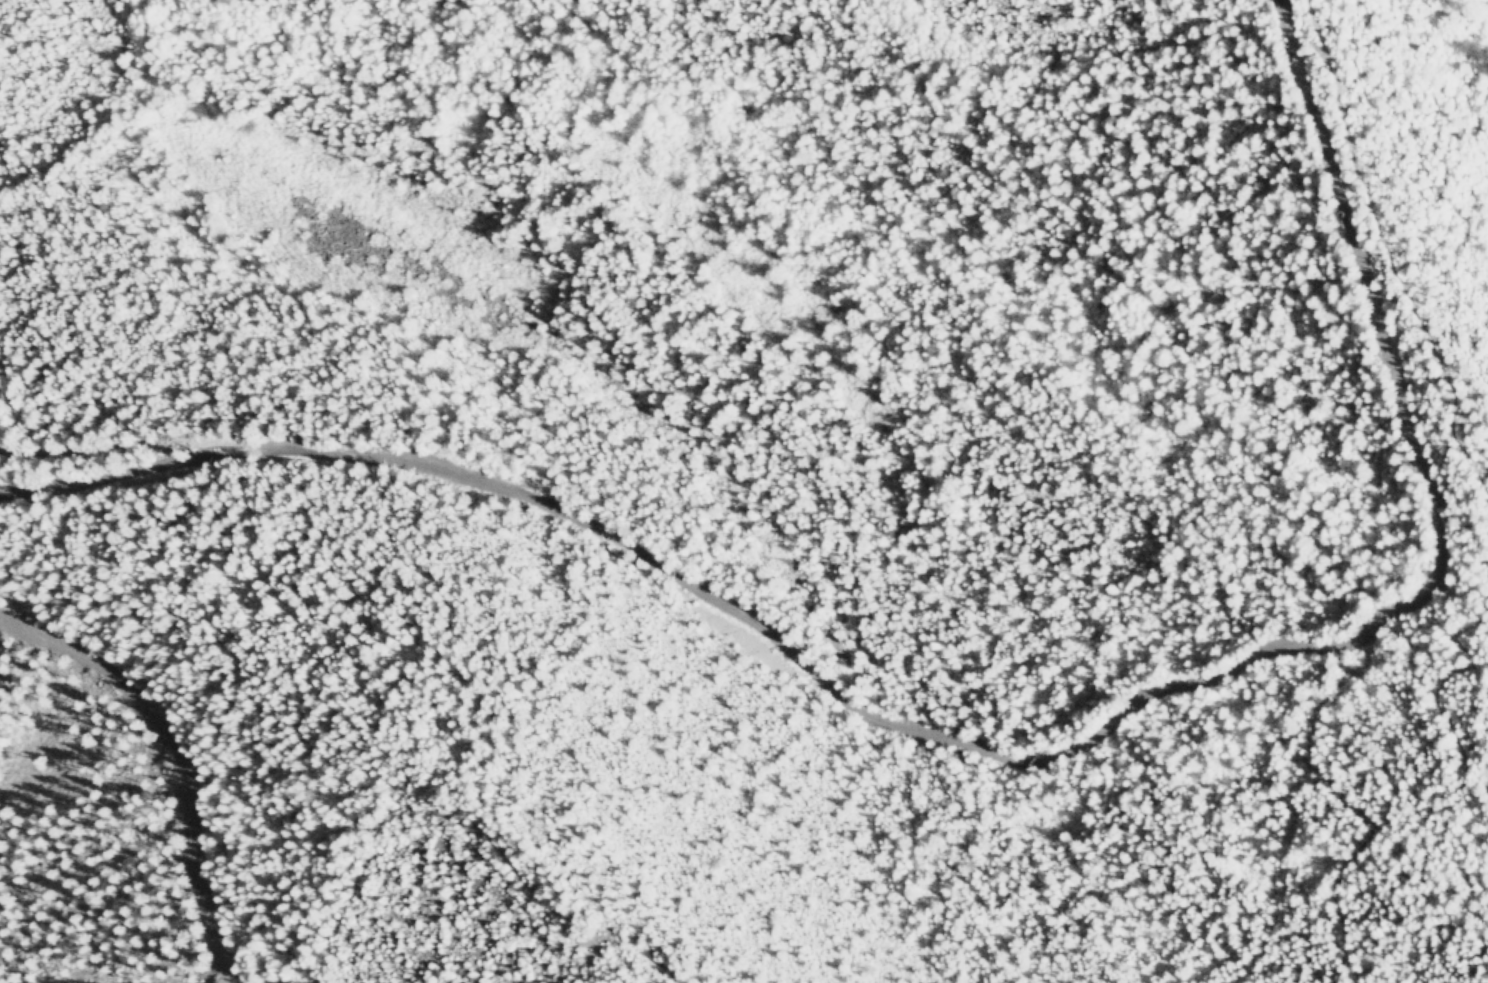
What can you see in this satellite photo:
road: (1390, 255)
road: (1003, 756)
road: (174, 758)
road: (1452, 770)

